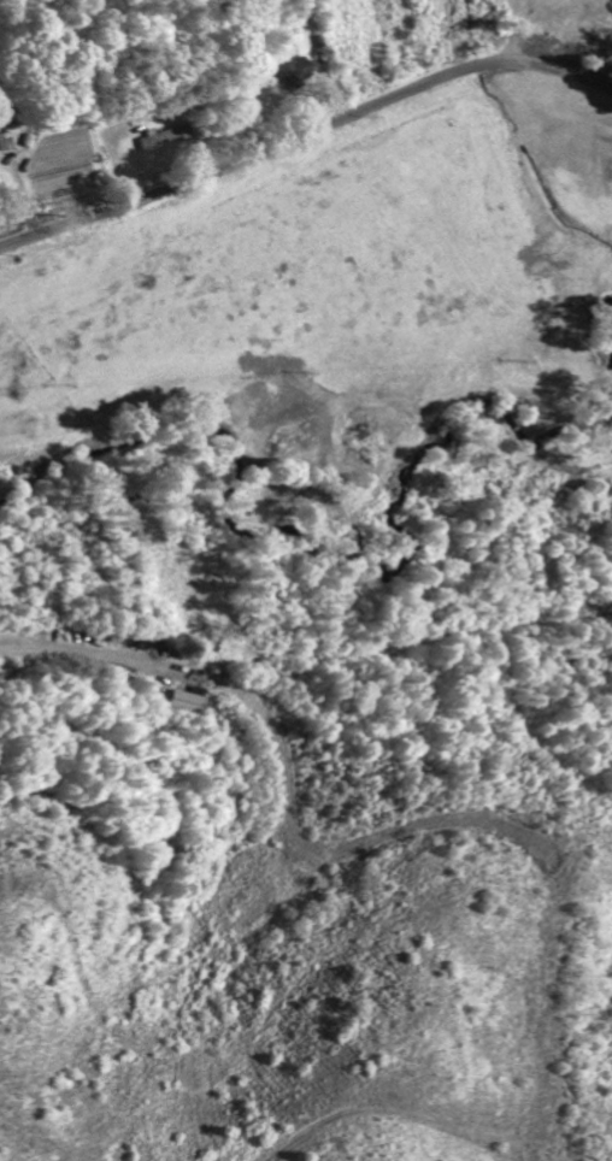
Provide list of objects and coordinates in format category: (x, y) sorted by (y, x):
building: (298, 73)
building: (158, 139)
road: (305, 140)
building: (188, 700)

